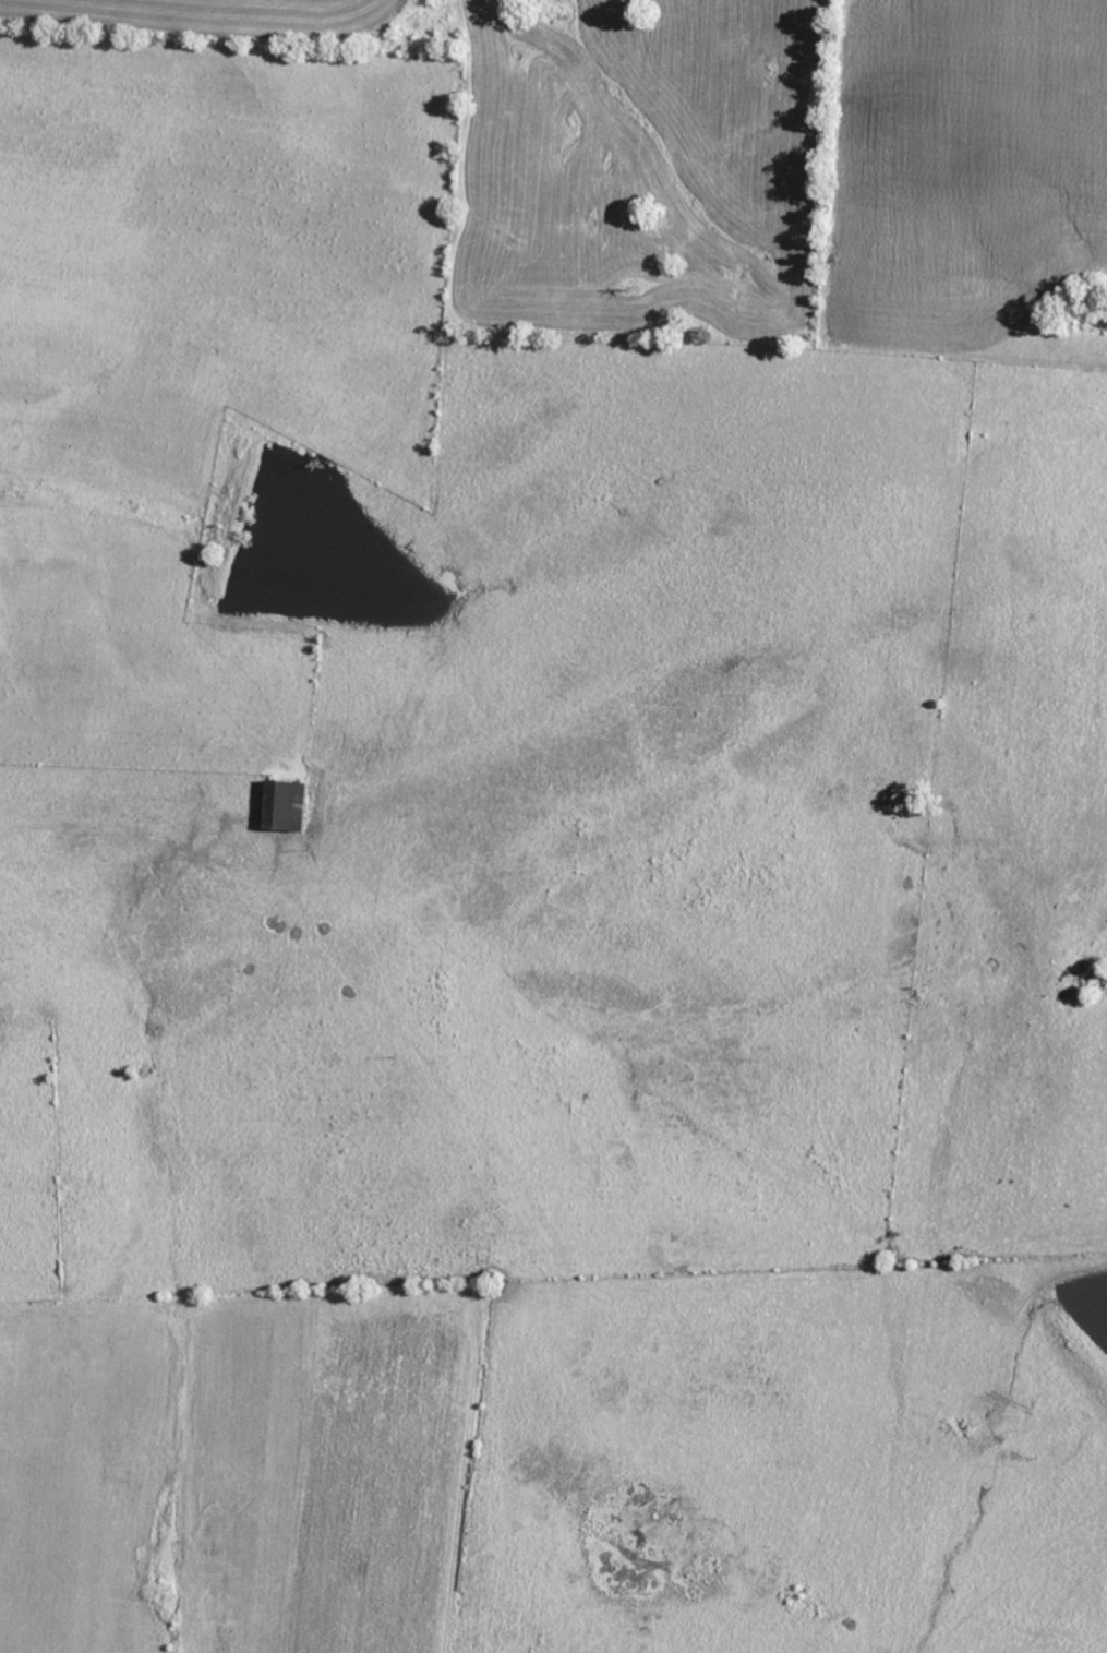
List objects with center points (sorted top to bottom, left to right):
building: (294, 805)

